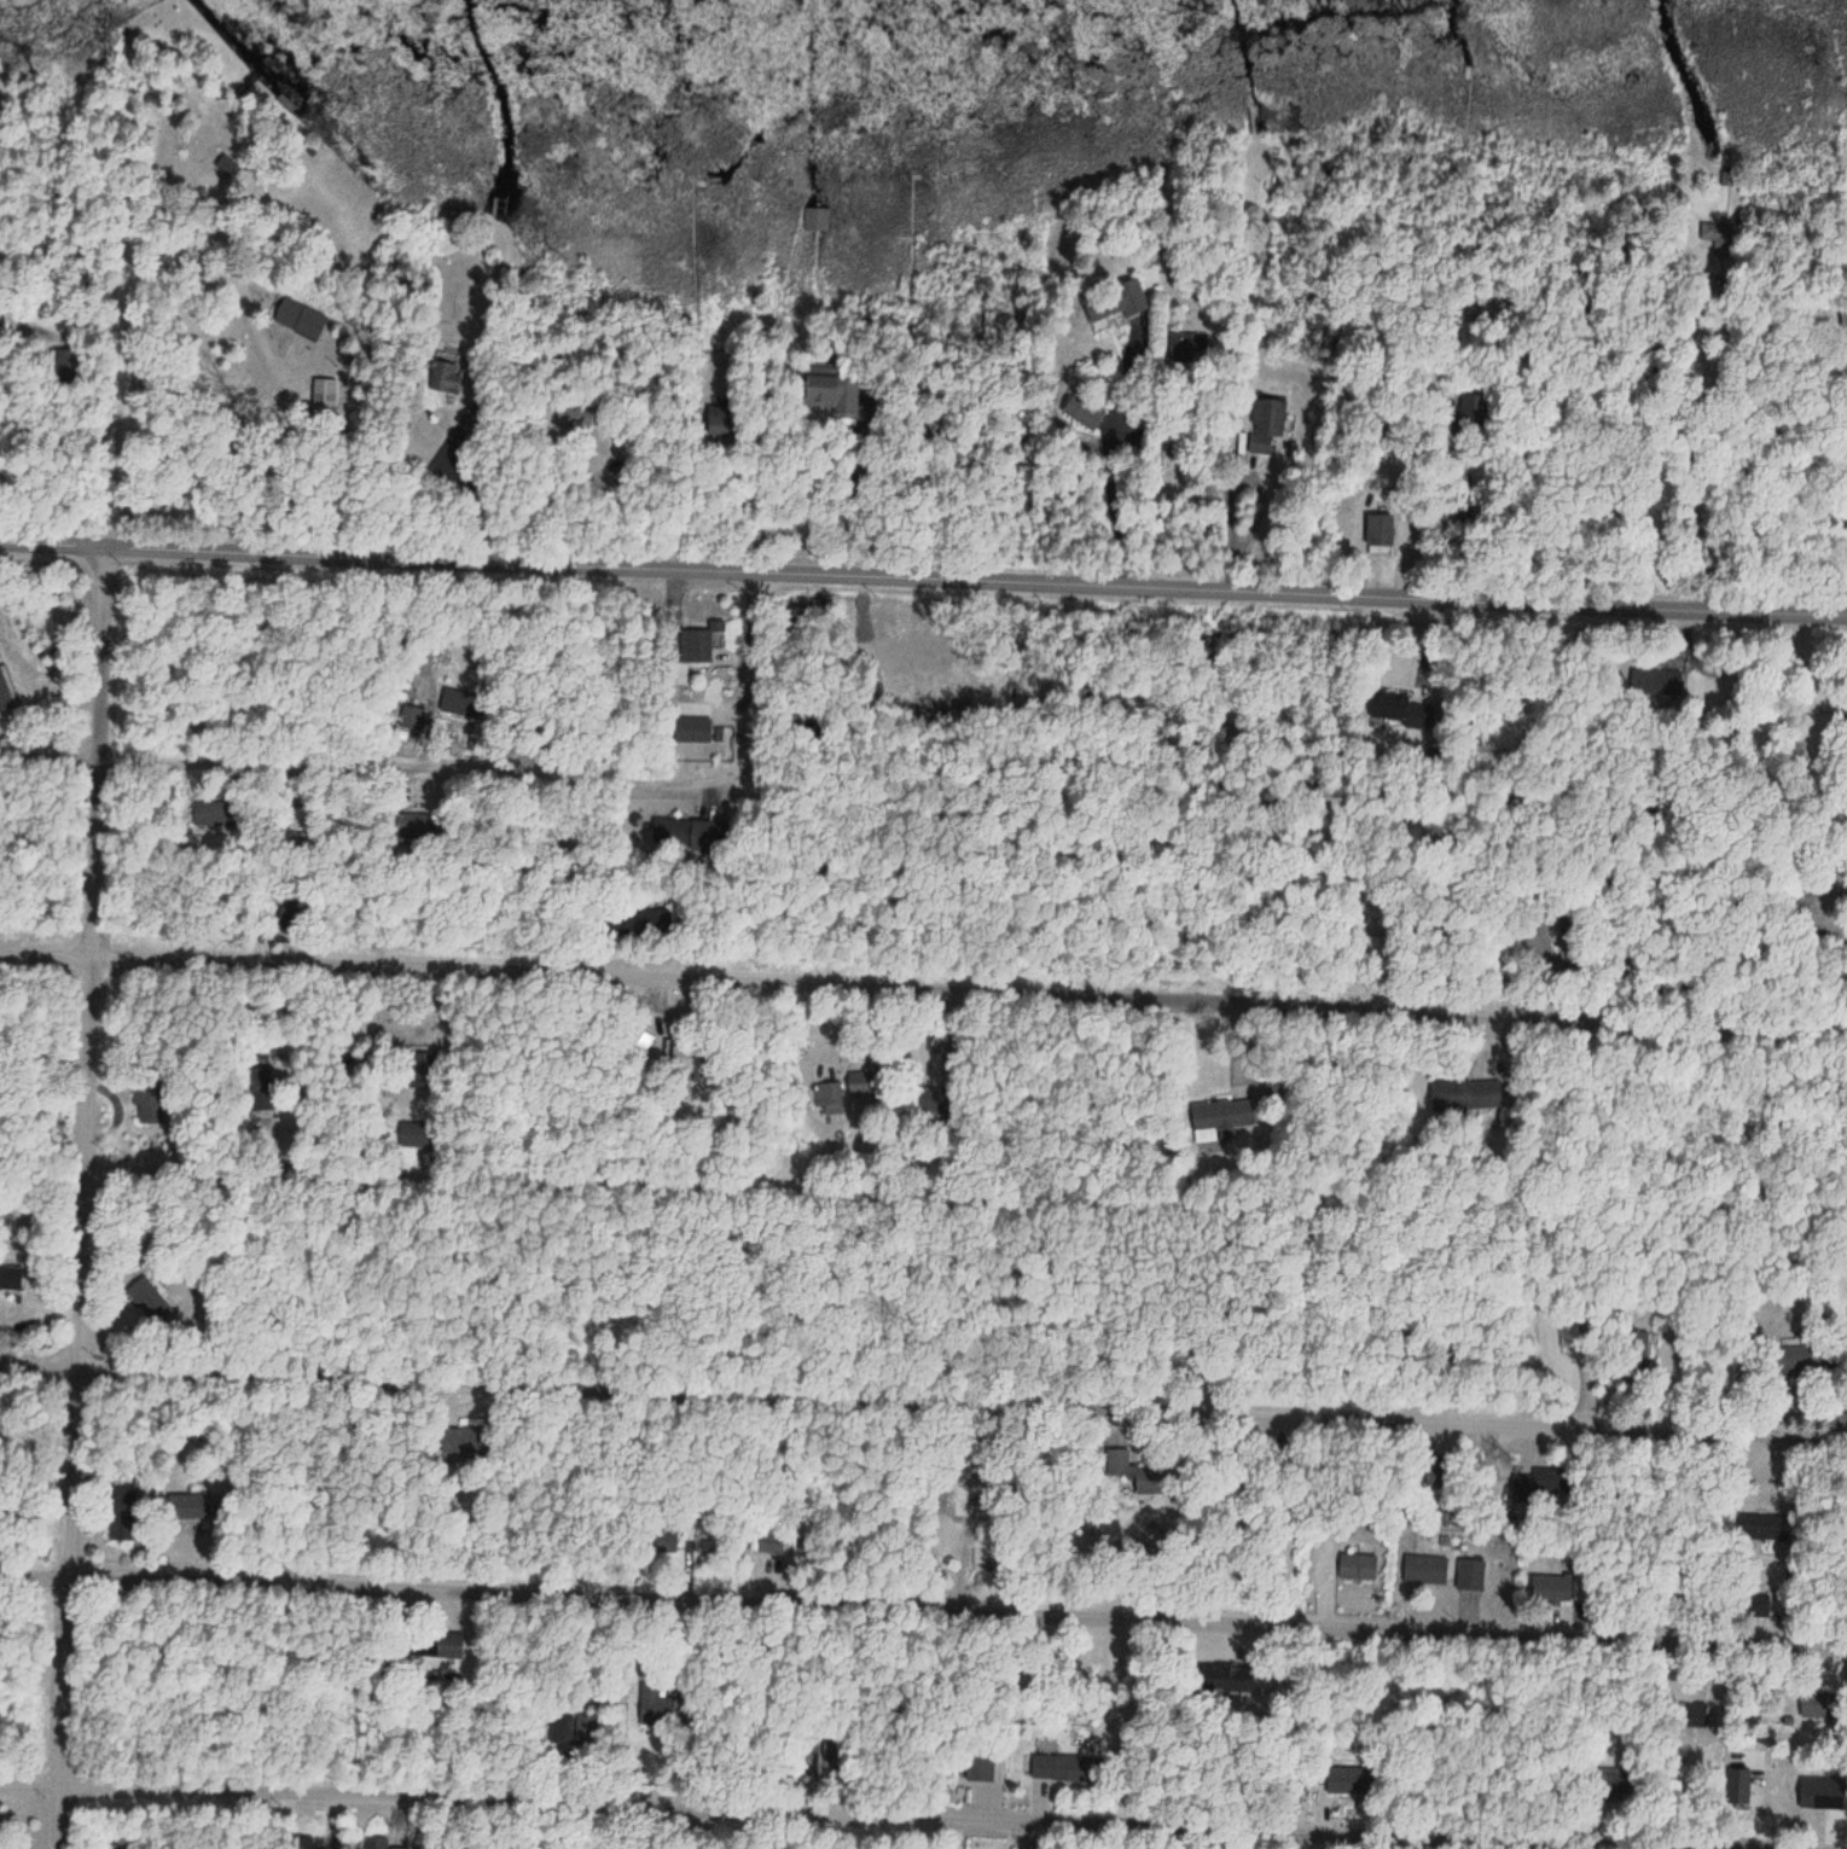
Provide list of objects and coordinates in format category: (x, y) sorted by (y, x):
road: (186, 202)
building: (815, 219)
building: (1114, 303)
building: (298, 318)
building: (442, 378)
building: (819, 384)
building: (325, 394)
building: (1084, 411)
building: (1267, 425)
road: (1689, 426)
road: (1116, 496)
road: (1203, 500)
road: (239, 506)
road: (1824, 523)
road: (1344, 528)
building: (1377, 530)
road: (923, 583)
building: (704, 644)
building: (0, 653)
road: (750, 680)
building: (7, 690)
building: (412, 717)
building: (690, 729)
road: (371, 768)
building: (211, 813)
road: (923, 993)
building: (643, 1042)
building: (267, 1077)
building: (829, 1095)
building: (1466, 1095)
building: (1214, 1121)
road: (574, 1191)
road: (86, 1202)
building: (11, 1278)
building: (144, 1296)
road: (1053, 1310)
building: (1637, 1351)
building: (1796, 1361)
road: (923, 1402)
building: (476, 1440)
building: (1435, 1470)
building: (188, 1506)
building: (1765, 1528)
building: (1357, 1568)
building: (1423, 1569)
building: (1466, 1570)
building: (1550, 1588)
road: (923, 1607)
building: (447, 1645)
building: (1816, 1706)
building: (1695, 1716)
building: (568, 1731)
building: (1067, 1768)
building: (1347, 1781)
building: (1819, 1793)
road: (923, 1812)
building: (1, 1847)

